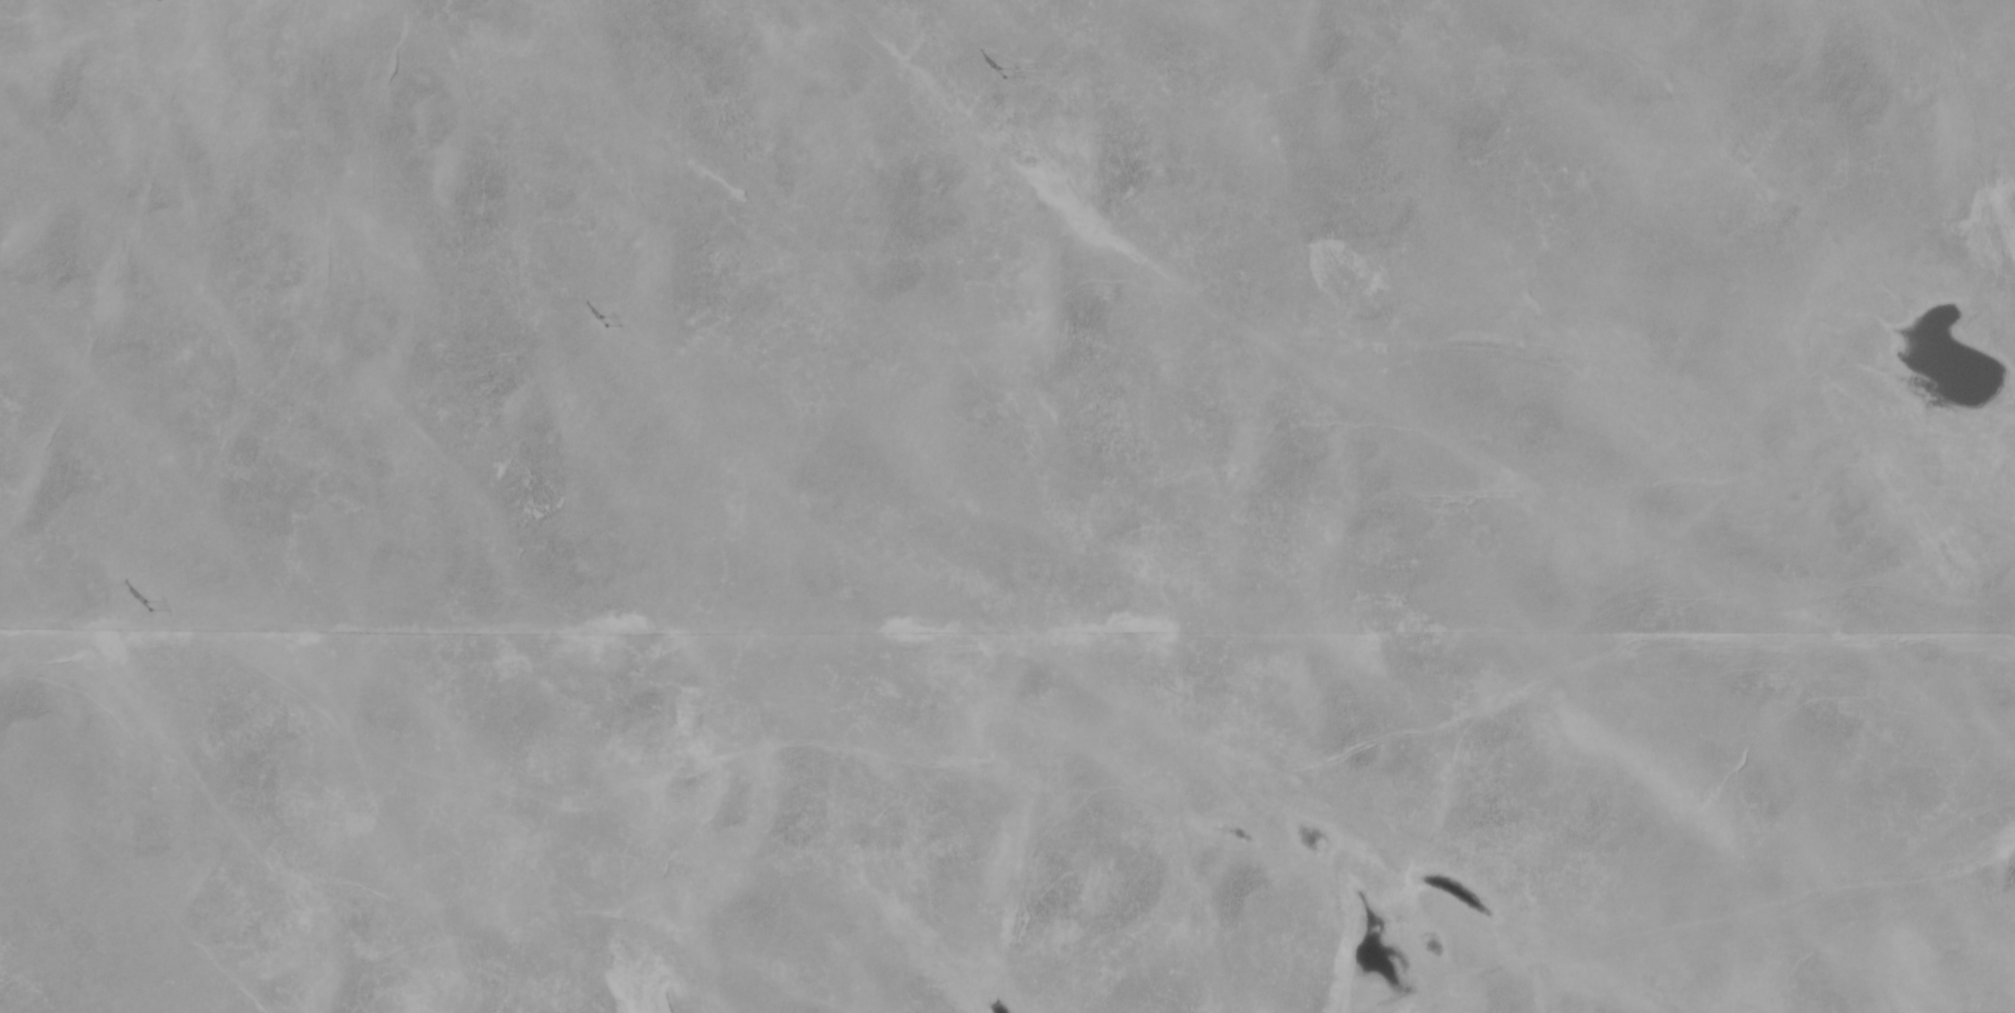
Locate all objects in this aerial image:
power tower: (1001, 73)
power tower: (604, 321)
power tower: (147, 606)

